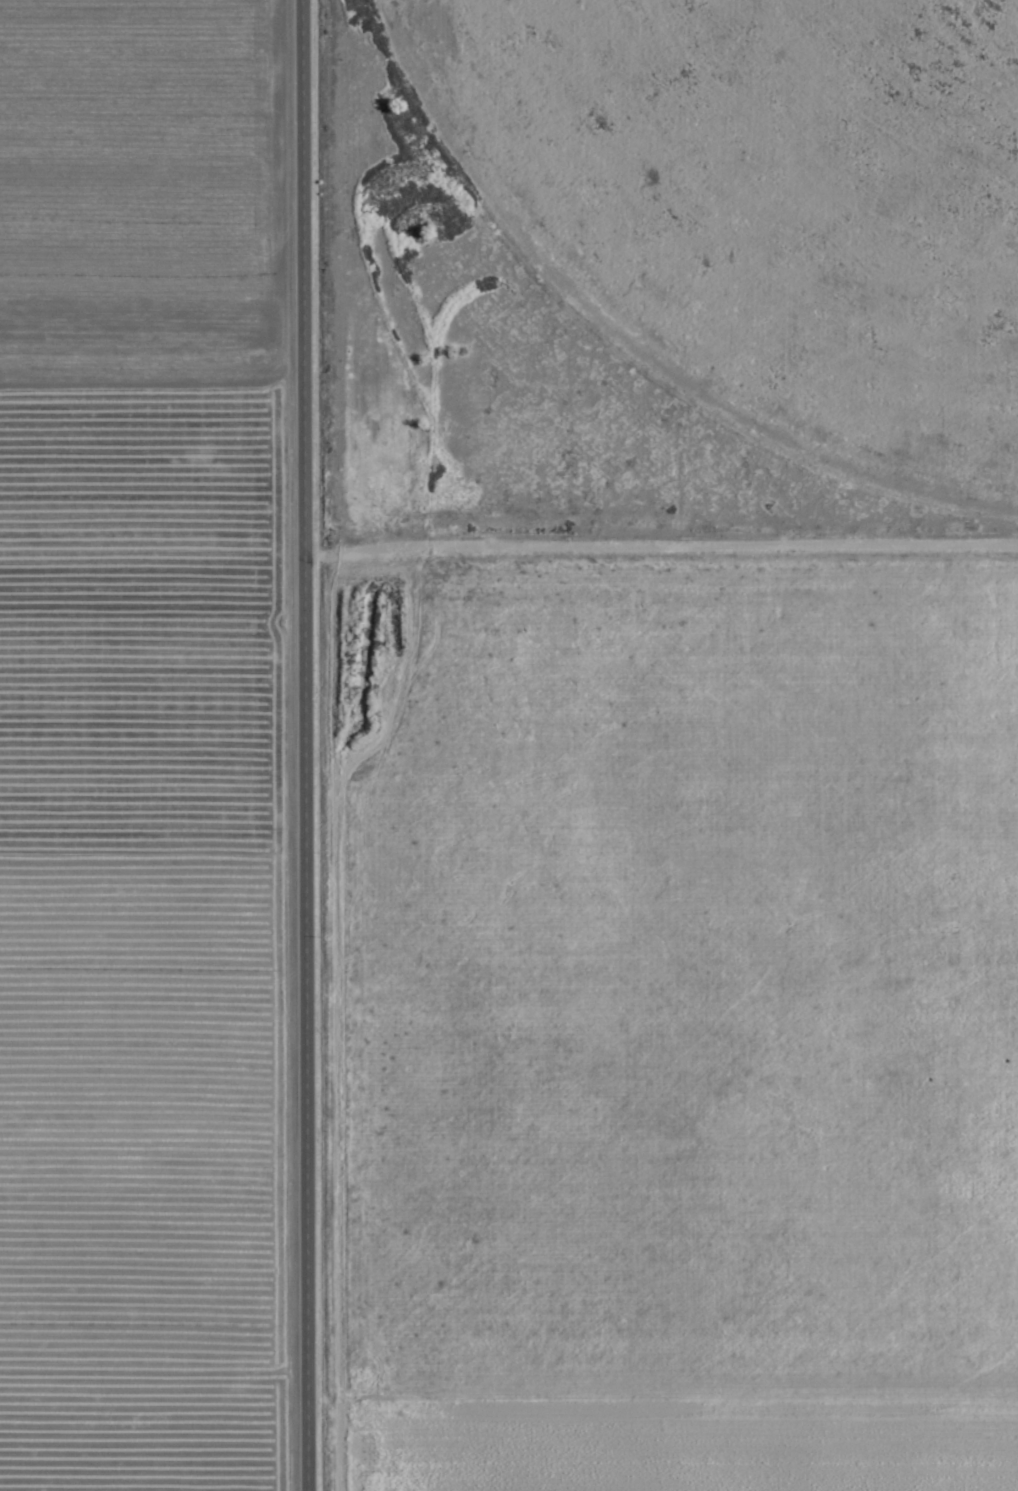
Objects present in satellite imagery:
crop: (761, 207)
crop: (155, 745)
road: (306, 745)

